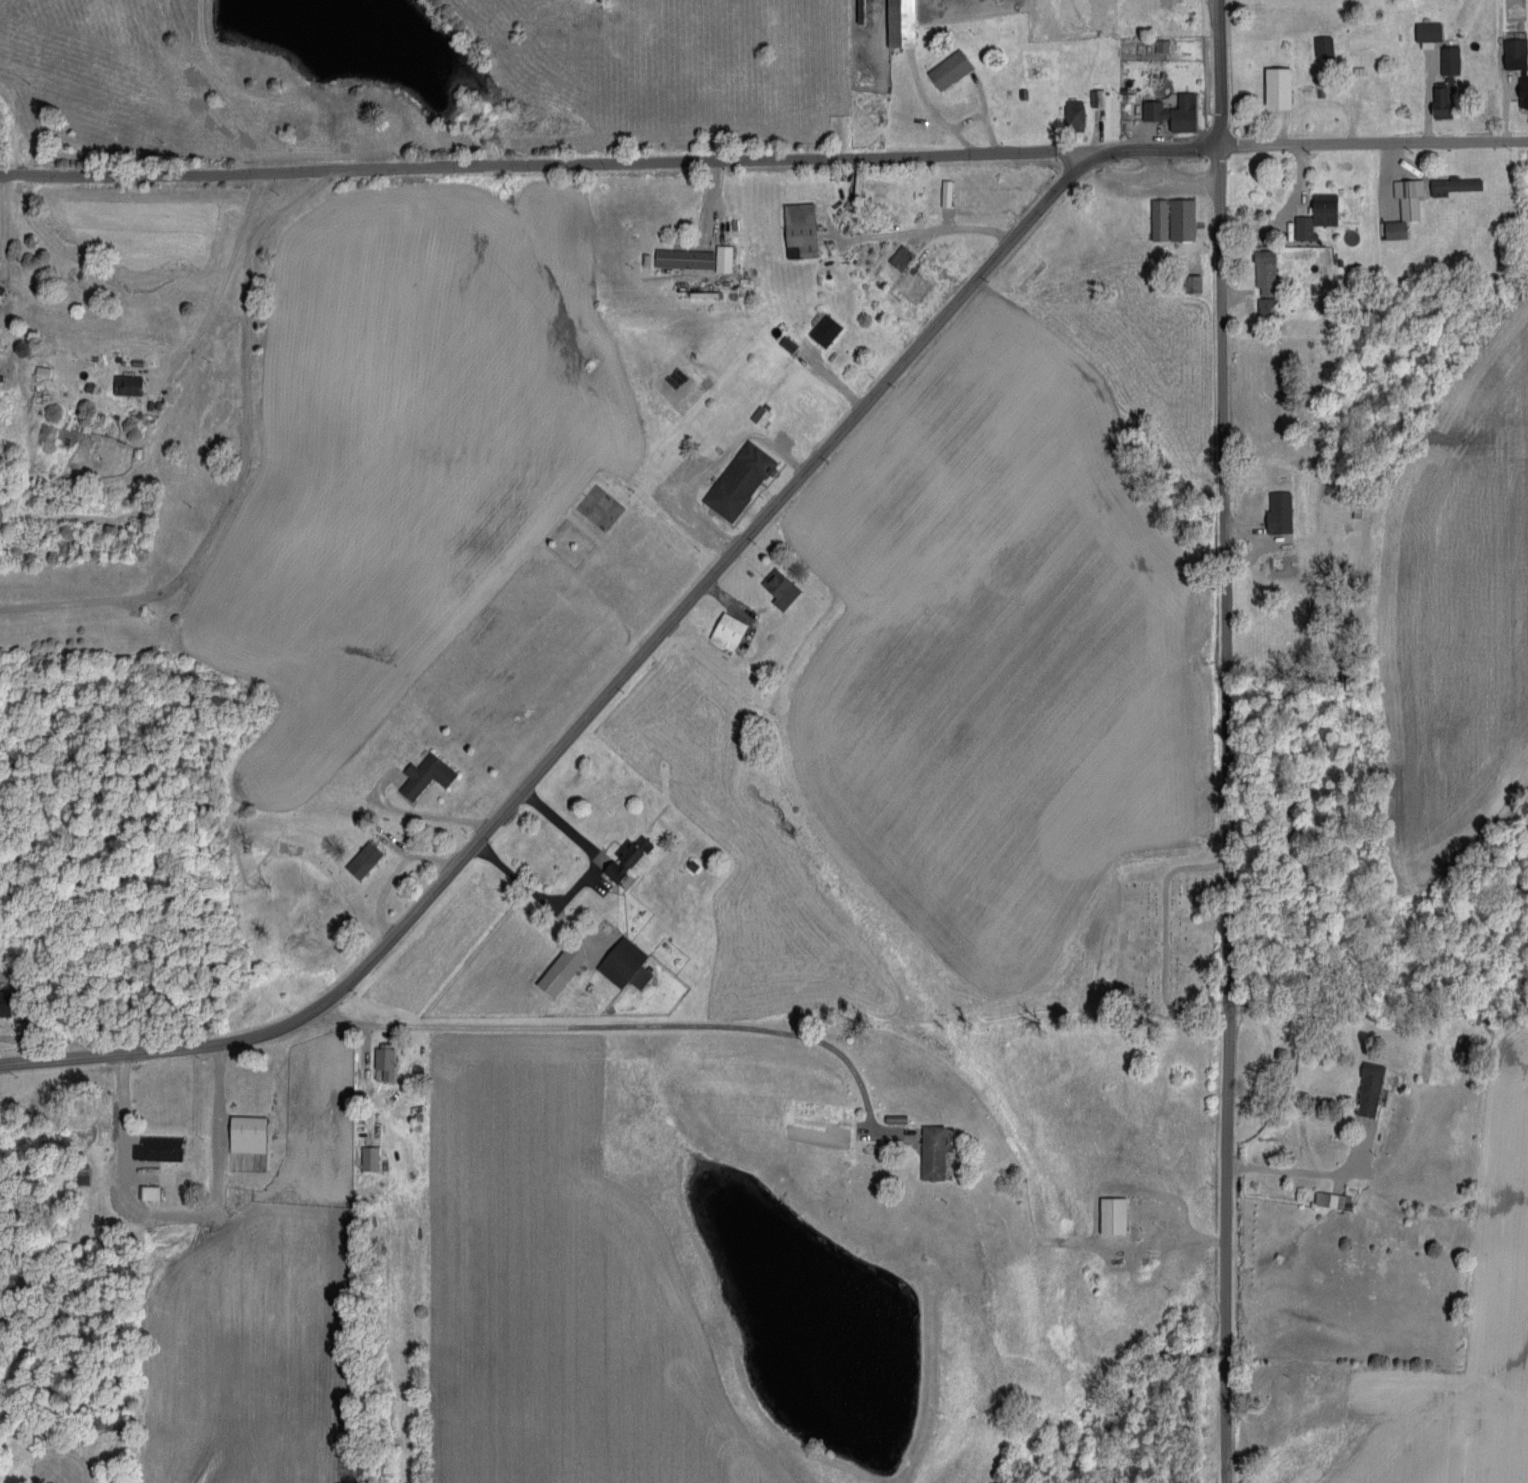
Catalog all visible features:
building: (903, 23)
building: (1429, 33)
building: (1162, 45)
building: (1324, 46)
building: (1450, 60)
building: (1518, 64)
building: (951, 69)
road: (1220, 74)
building: (1280, 88)
building: (1097, 98)
building: (1442, 101)
building: (1175, 112)
building: (1075, 113)
road: (937, 118)
road: (1374, 144)
road: (1156, 149)
road: (545, 164)
building: (1456, 185)
building: (947, 192)
building: (1405, 206)
building: (1318, 215)
building: (1173, 219)
building: (802, 228)
road: (942, 237)
building: (901, 257)
building: (695, 258)
building: (1267, 272)
road: (225, 282)
building: (1195, 284)
building: (1266, 306)
building: (826, 330)
building: (128, 384)
building: (761, 415)
road: (246, 455)
building: (741, 480)
building: (1281, 512)
building: (782, 588)
building: (729, 631)
road: (599, 705)
building: (427, 774)
road: (1225, 815)
road: (420, 817)
building: (631, 857)
building: (365, 859)
road: (524, 881)
park: (1169, 939)
building: (626, 964)
building: (562, 970)
building: (6, 1003)
road: (633, 1025)
building: (386, 1059)
building: (1370, 1088)
road: (124, 1109)
building: (249, 1133)
building: (158, 1148)
building: (934, 1152)
building: (370, 1157)
road: (1308, 1169)
building: (149, 1192)
building: (1332, 1199)
building: (1114, 1214)

